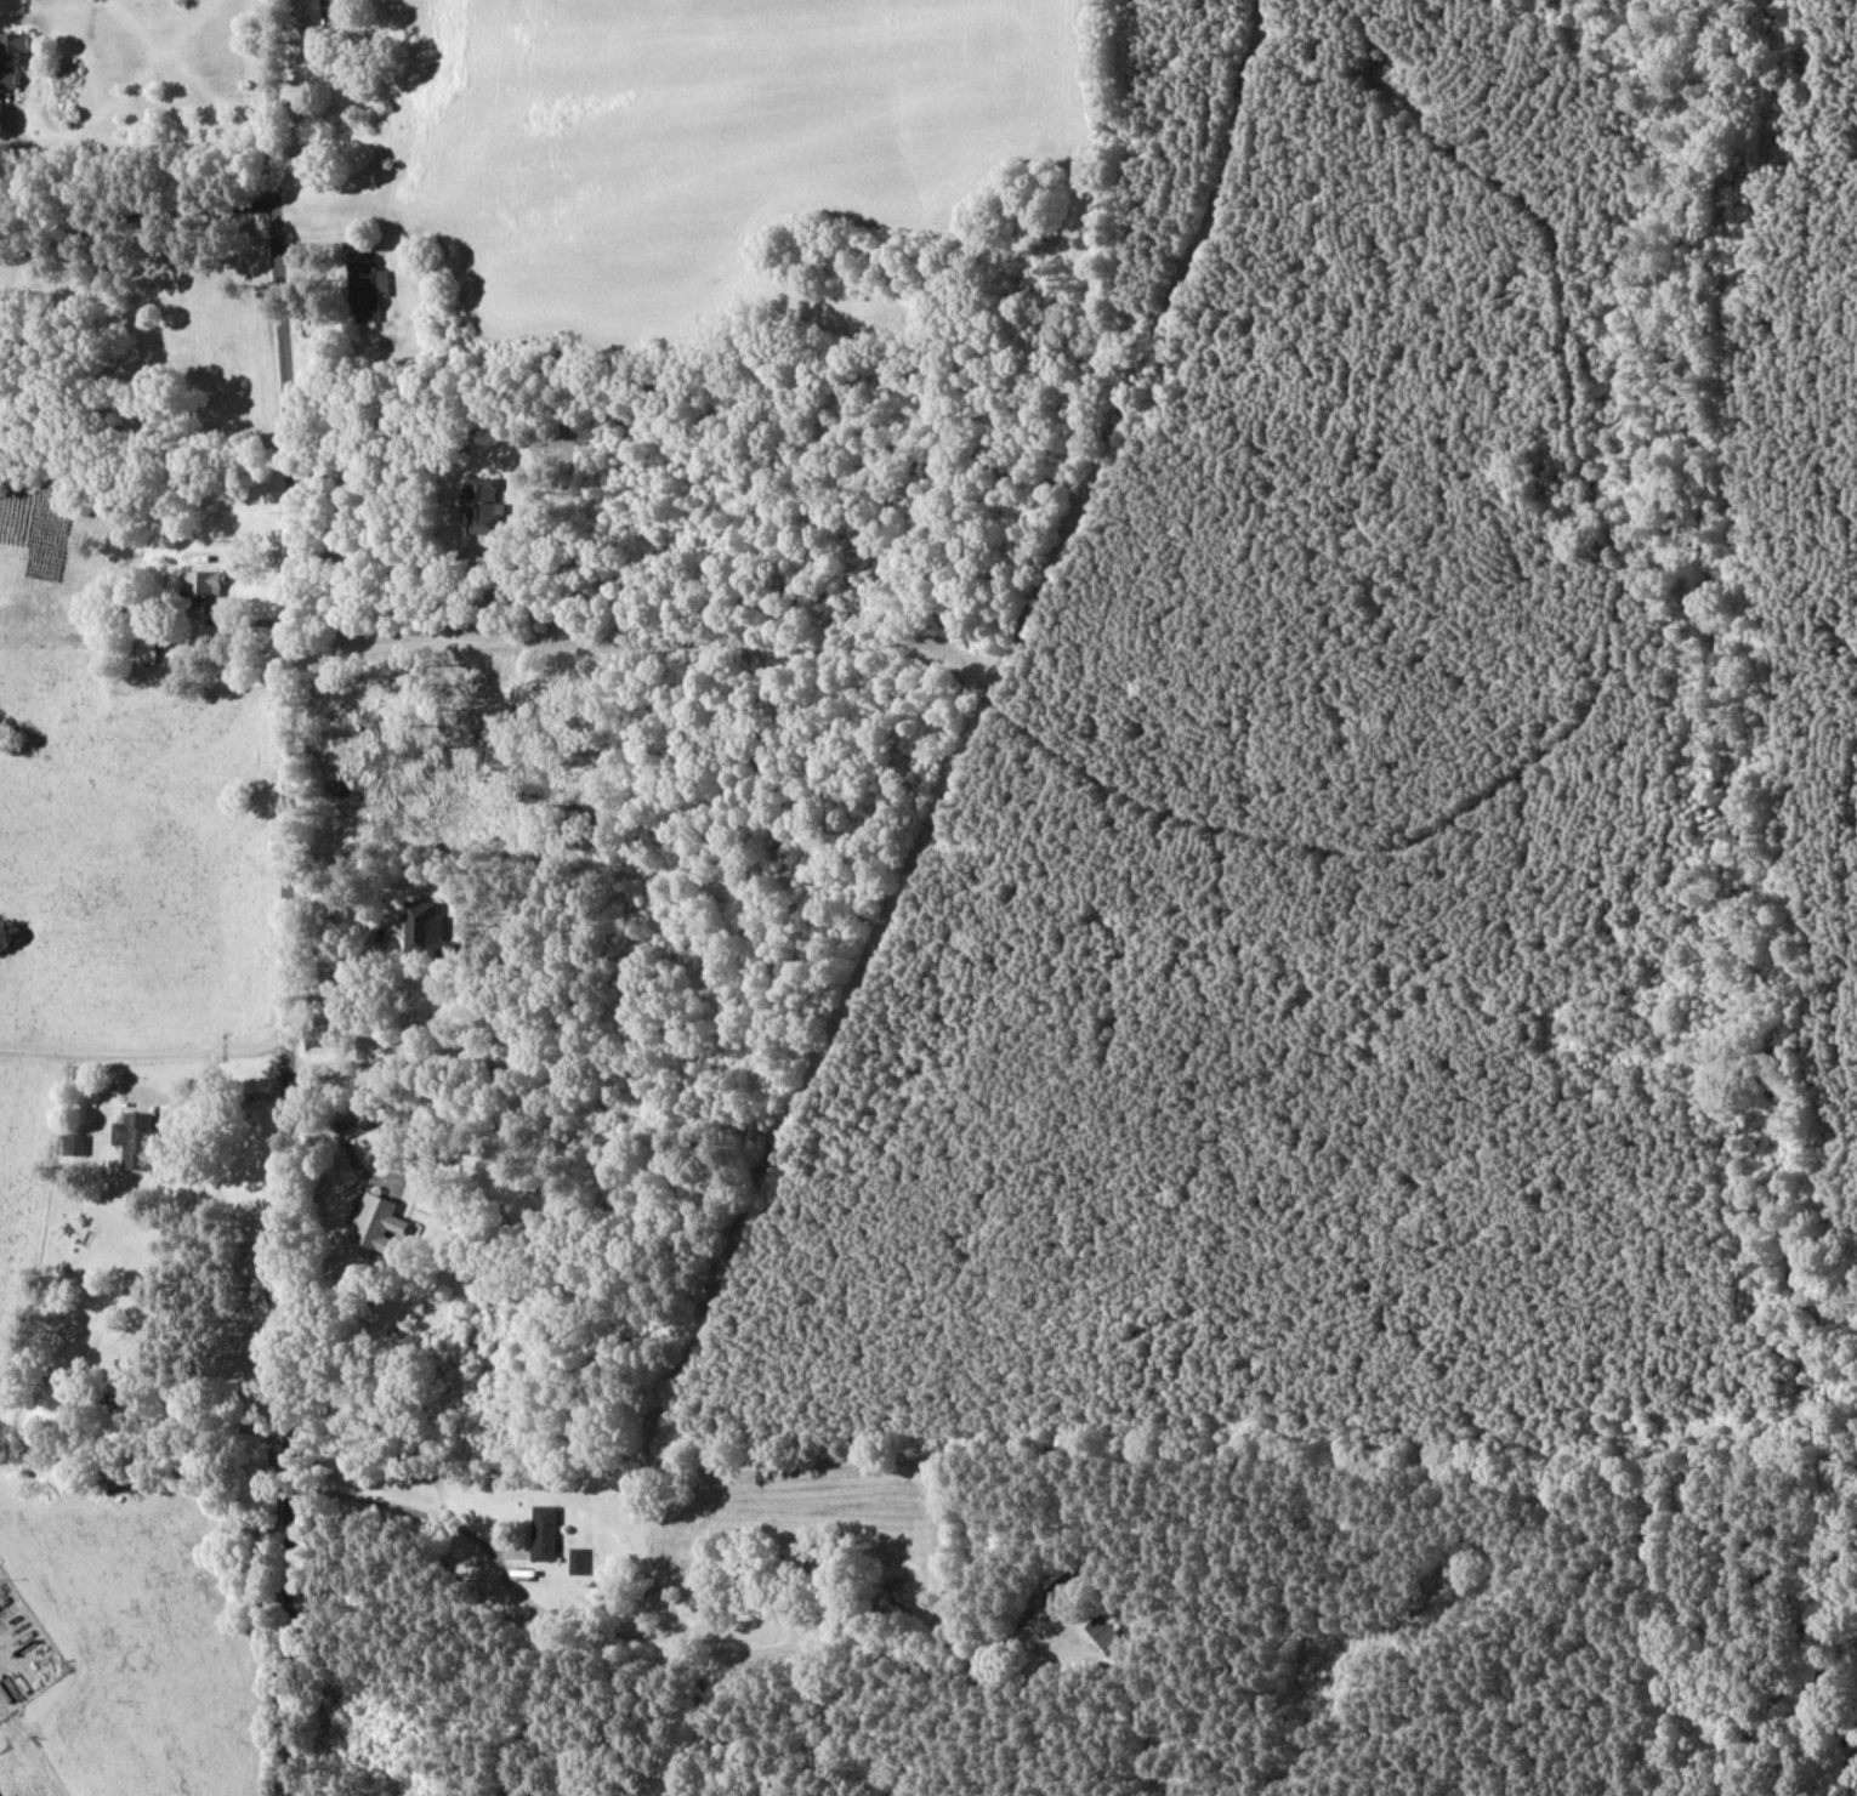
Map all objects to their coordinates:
building: (317, 12)
building: (11, 57)
building: (368, 290)
building: (483, 505)
building: (205, 585)
road: (283, 897)
building: (426, 931)
building: (137, 1139)
building: (377, 1224)
building: (544, 1531)
building: (578, 1559)
building: (1066, 1593)
road: (532, 1609)
building: (1106, 1632)

